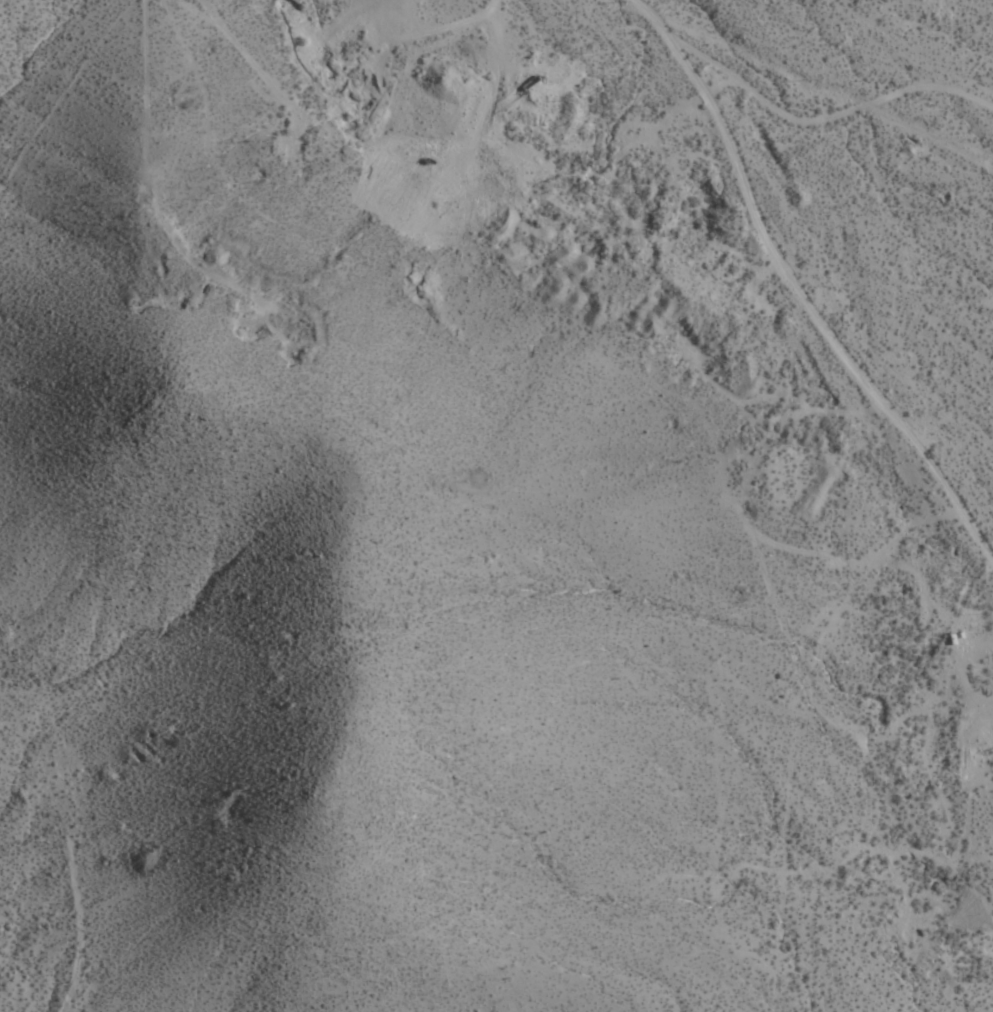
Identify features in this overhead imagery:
road: (796, 59)
road: (813, 296)
road: (793, 663)

